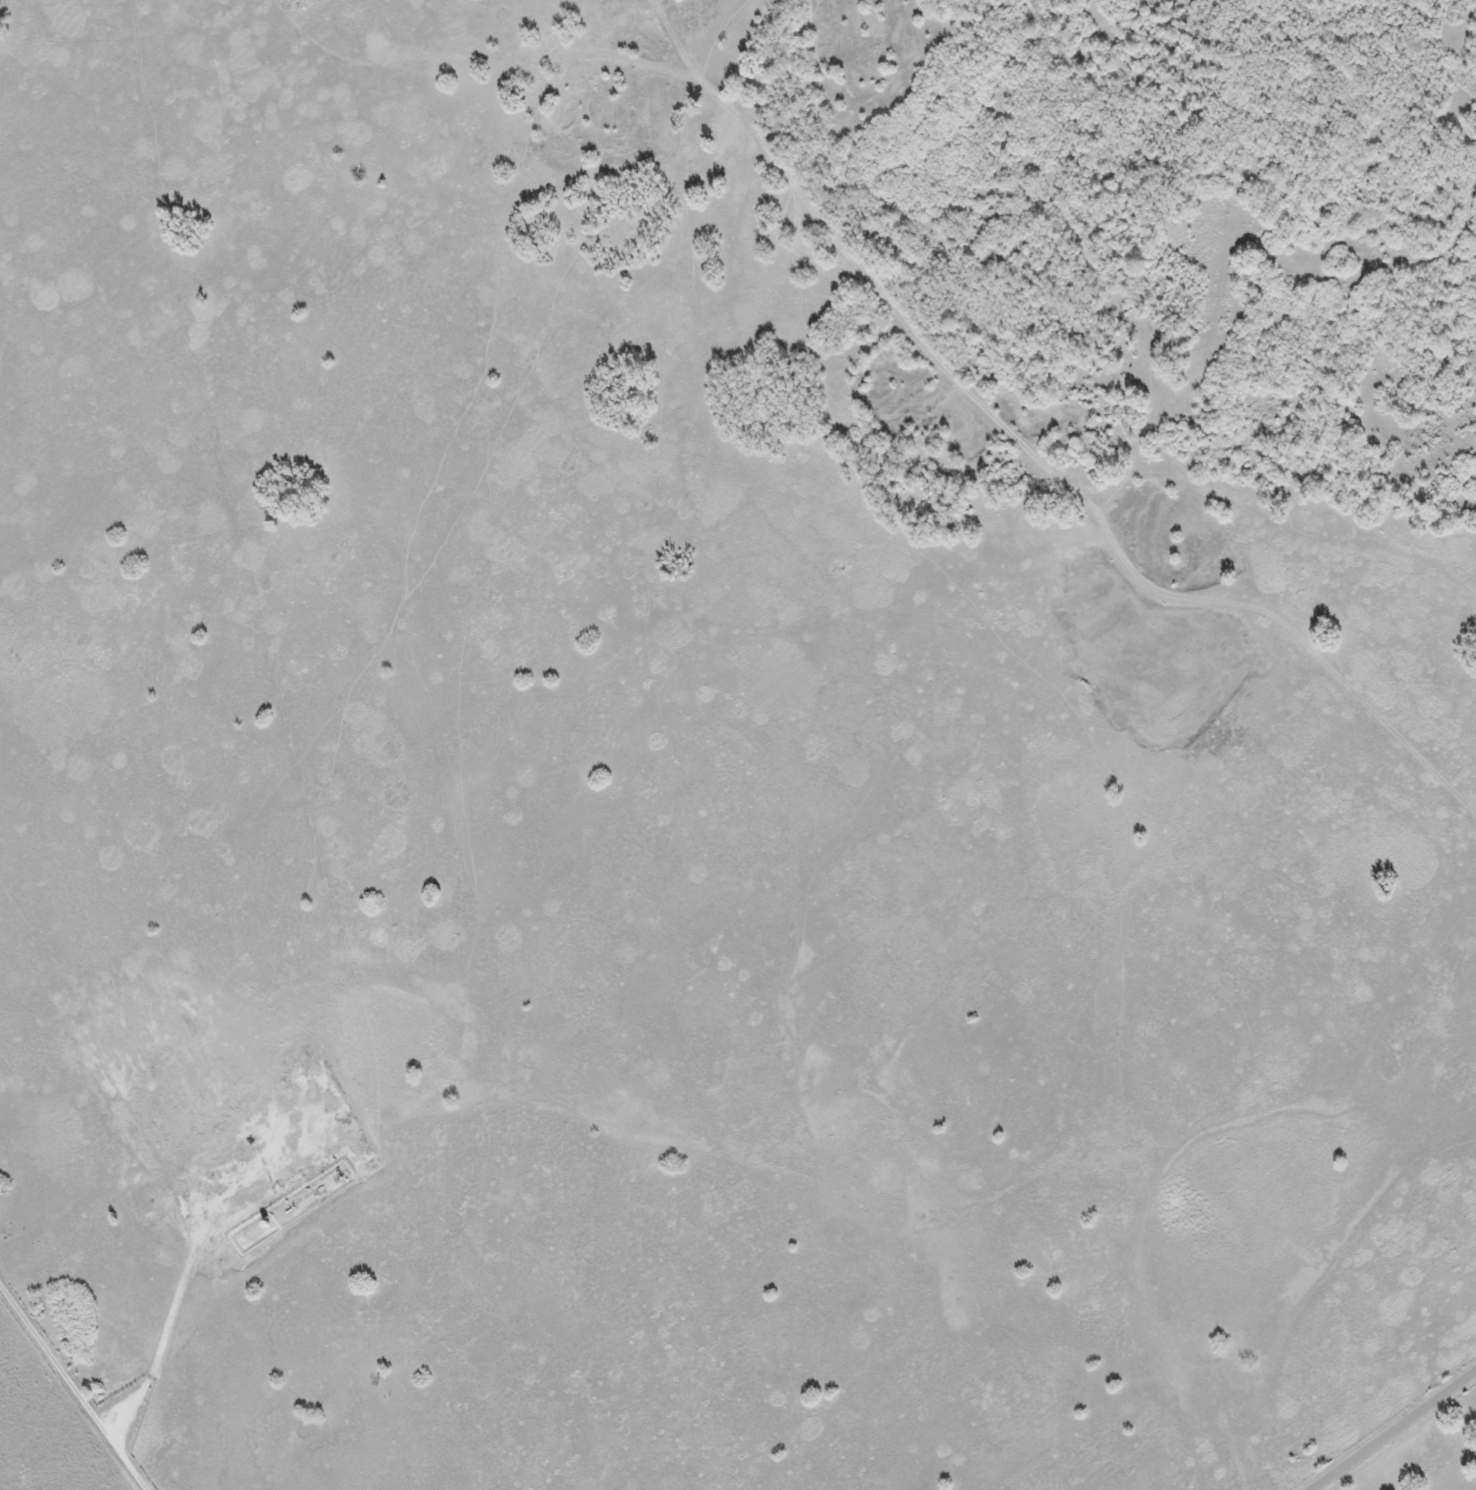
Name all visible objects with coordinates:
road: (77, 1381)
road: (1392, 1429)

